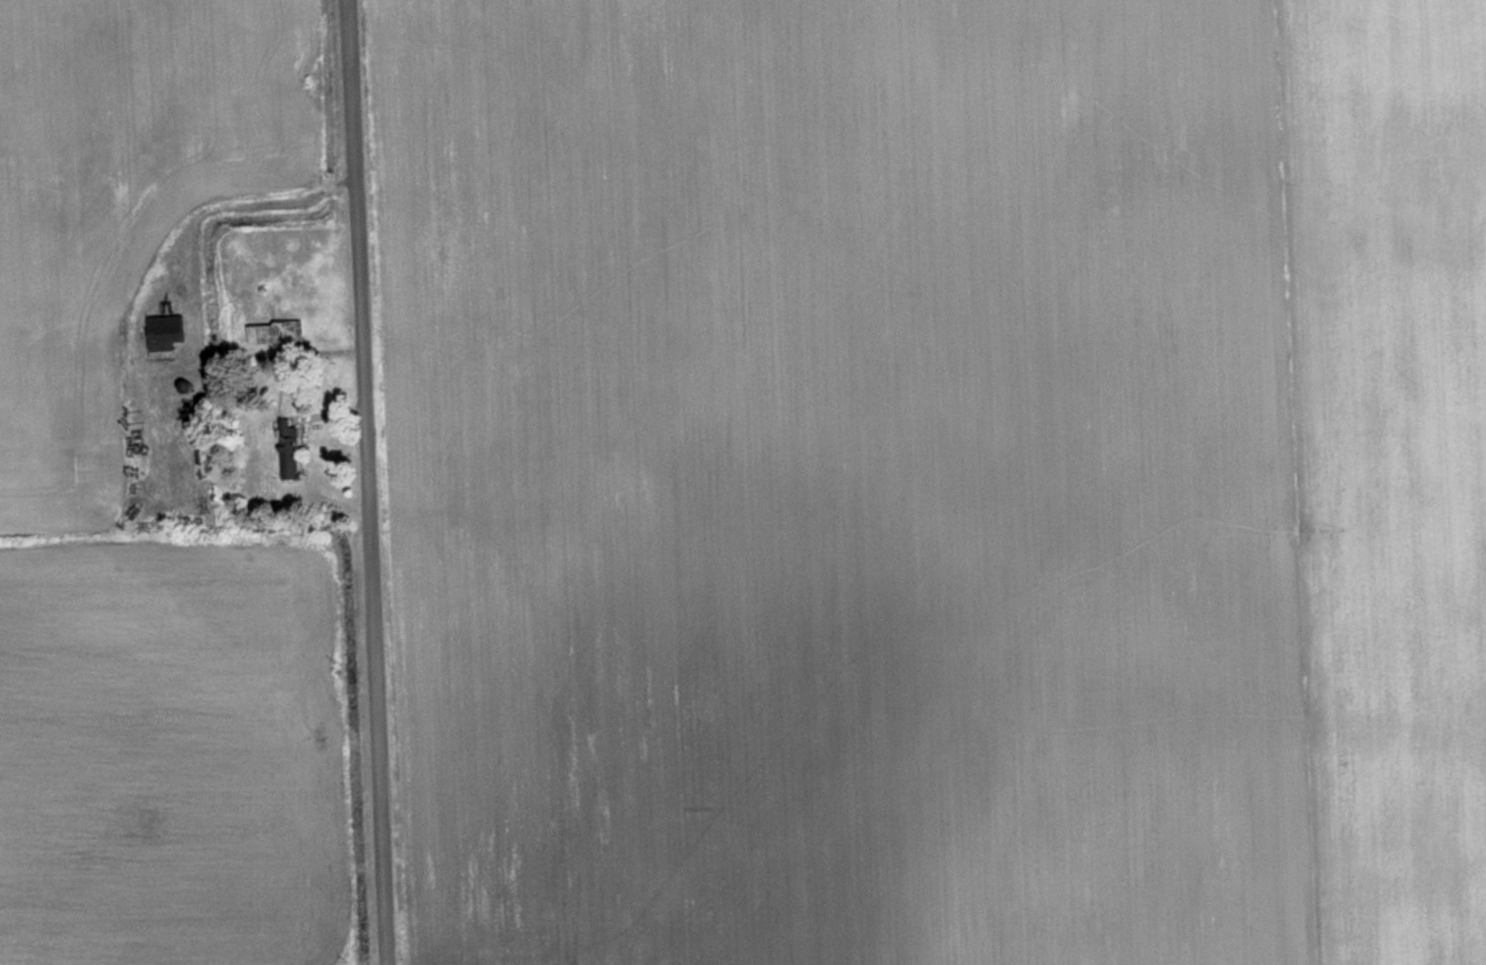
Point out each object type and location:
building: (279, 333)
building: (168, 334)
building: (293, 452)
road: (360, 482)

